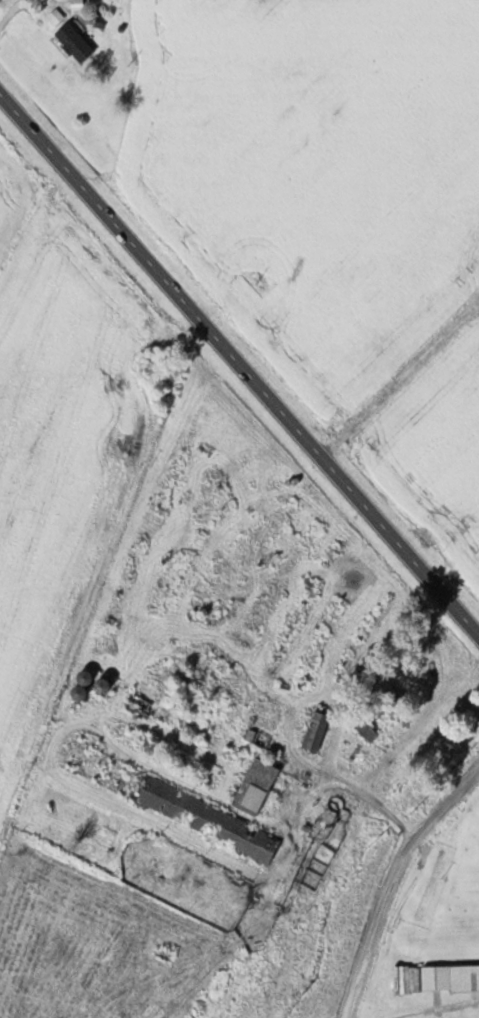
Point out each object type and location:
building: (74, 41)
road: (240, 361)
building: (315, 731)
building: (367, 731)
building: (203, 737)
building: (256, 784)
road: (354, 787)
building: (211, 819)
road: (389, 878)
airport: (431, 926)
building: (450, 975)

